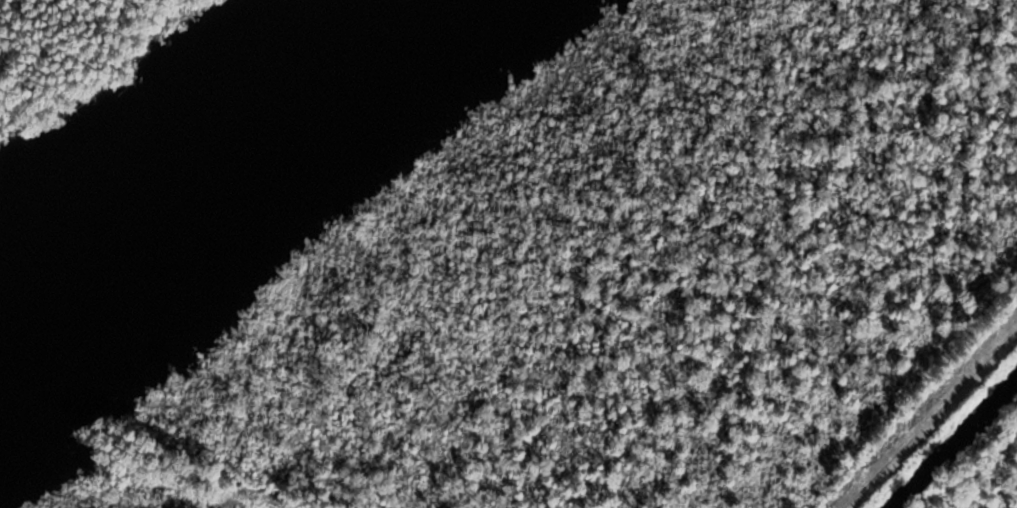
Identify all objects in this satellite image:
road: (933, 422)

